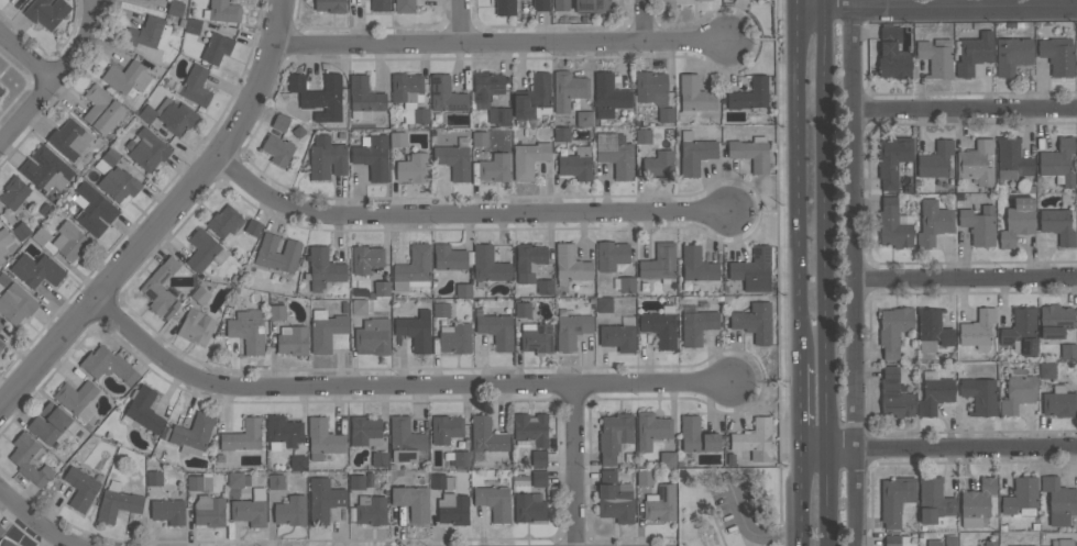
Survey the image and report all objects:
building: (703, 0)
road: (1044, 2)
road: (798, 4)
building: (330, 5)
building: (380, 5)
building: (404, 5)
building: (540, 5)
building: (561, 5)
building: (593, 5)
building: (505, 7)
road: (936, 7)
building: (175, 8)
building: (223, 11)
building: (46, 12)
road: (462, 19)
road: (652, 19)
building: (193, 26)
building: (1076, 31)
building: (147, 33)
road: (466, 38)
road: (691, 38)
road: (763, 40)
building: (213, 46)
building: (974, 53)
building: (892, 54)
building: (1012, 55)
building: (1057, 55)
road: (25, 57)
building: (935, 58)
road: (54, 74)
building: (127, 77)
building: (196, 86)
building: (405, 86)
building: (486, 87)
building: (568, 89)
building: (1, 90)
building: (653, 93)
building: (365, 94)
building: (446, 94)
building: (749, 94)
building: (608, 96)
building: (319, 97)
building: (532, 97)
building: (693, 97)
road: (965, 109)
building: (101, 110)
building: (171, 115)
building: (420, 115)
building: (499, 115)
building: (584, 118)
building: (281, 123)
building: (562, 134)
building: (644, 136)
building: (69, 138)
building: (479, 138)
building: (397, 140)
building: (278, 149)
building: (147, 151)
building: (751, 151)
building: (695, 153)
building: (615, 154)
building: (110, 156)
building: (327, 157)
building: (373, 157)
building: (1011, 158)
building: (529, 159)
building: (935, 159)
building: (892, 160)
building: (454, 161)
building: (976, 163)
building: (1058, 163)
building: (575, 164)
building: (659, 166)
building: (494, 167)
building: (413, 168)
building: (46, 169)
building: (119, 183)
road: (799, 186)
building: (13, 192)
road: (766, 209)
building: (94, 210)
road: (465, 213)
road: (167, 216)
building: (226, 221)
building: (1016, 221)
building: (933, 223)
building: (893, 225)
building: (979, 225)
building: (1057, 225)
building: (253, 227)
building: (41, 235)
building: (69, 241)
building: (3, 242)
building: (204, 250)
building: (277, 254)
building: (611, 255)
building: (449, 257)
building: (366, 258)
building: (529, 261)
building: (660, 261)
building: (571, 264)
building: (696, 264)
building: (488, 265)
building: (36, 269)
building: (323, 269)
building: (413, 269)
building: (752, 270)
road: (828, 272)
road: (855, 276)
building: (3, 279)
road: (966, 279)
building: (626, 283)
building: (162, 288)
building: (382, 288)
building: (545, 288)
building: (463, 290)
building: (199, 296)
building: (17, 304)
building: (604, 304)
building: (359, 308)
building: (440, 310)
building: (523, 310)
building: (277, 312)
building: (1054, 321)
building: (754, 322)
building: (1, 325)
building: (196, 326)
building: (696, 326)
building: (660, 328)
building: (977, 328)
building: (248, 330)
building: (496, 330)
building: (571, 330)
building: (893, 330)
building: (931, 330)
building: (415, 331)
building: (1021, 331)
building: (328, 332)
building: (617, 336)
building: (373, 337)
building: (455, 338)
building: (537, 338)
building: (293, 341)
building: (0, 348)
building: (1068, 352)
building: (108, 365)
building: (1046, 370)
road: (766, 381)
road: (397, 389)
building: (1018, 391)
building: (894, 393)
building: (935, 394)
building: (979, 394)
building: (76, 395)
building: (1059, 404)
road: (802, 406)
building: (144, 409)
building: (48, 423)
building: (363, 428)
building: (446, 428)
building: (531, 428)
building: (651, 430)
building: (284, 431)
building: (193, 434)
building: (243, 435)
building: (486, 435)
building: (614, 435)
building: (696, 436)
building: (322, 438)
building: (755, 439)
building: (406, 442)
road: (939, 446)
building: (461, 458)
building: (538, 458)
building: (667, 458)
building: (20, 459)
building: (380, 459)
building: (298, 463)
road: (574, 466)
building: (154, 478)
building: (539, 478)
building: (645, 478)
building: (235, 479)
building: (275, 481)
building: (356, 481)
building: (438, 481)
building: (195, 482)
building: (80, 488)
building: (1021, 494)
building: (614, 498)
road: (803, 498)
building: (323, 500)
building: (894, 500)
building: (934, 500)
building: (1058, 501)
building: (413, 502)
building: (494, 502)
building: (977, 502)
building: (661, 504)
building: (118, 505)
building: (529, 508)
building: (251, 509)
building: (452, 509)
building: (292, 510)
building: (371, 510)
building: (168, 511)
building: (209, 511)
road: (37, 520)
building: (1, 530)
road: (751, 531)
building: (892, 541)
building: (950, 541)
building: (934, 542)
building: (1065, 542)
building: (7, 543)
building: (990, 543)
building: (1024, 545)

